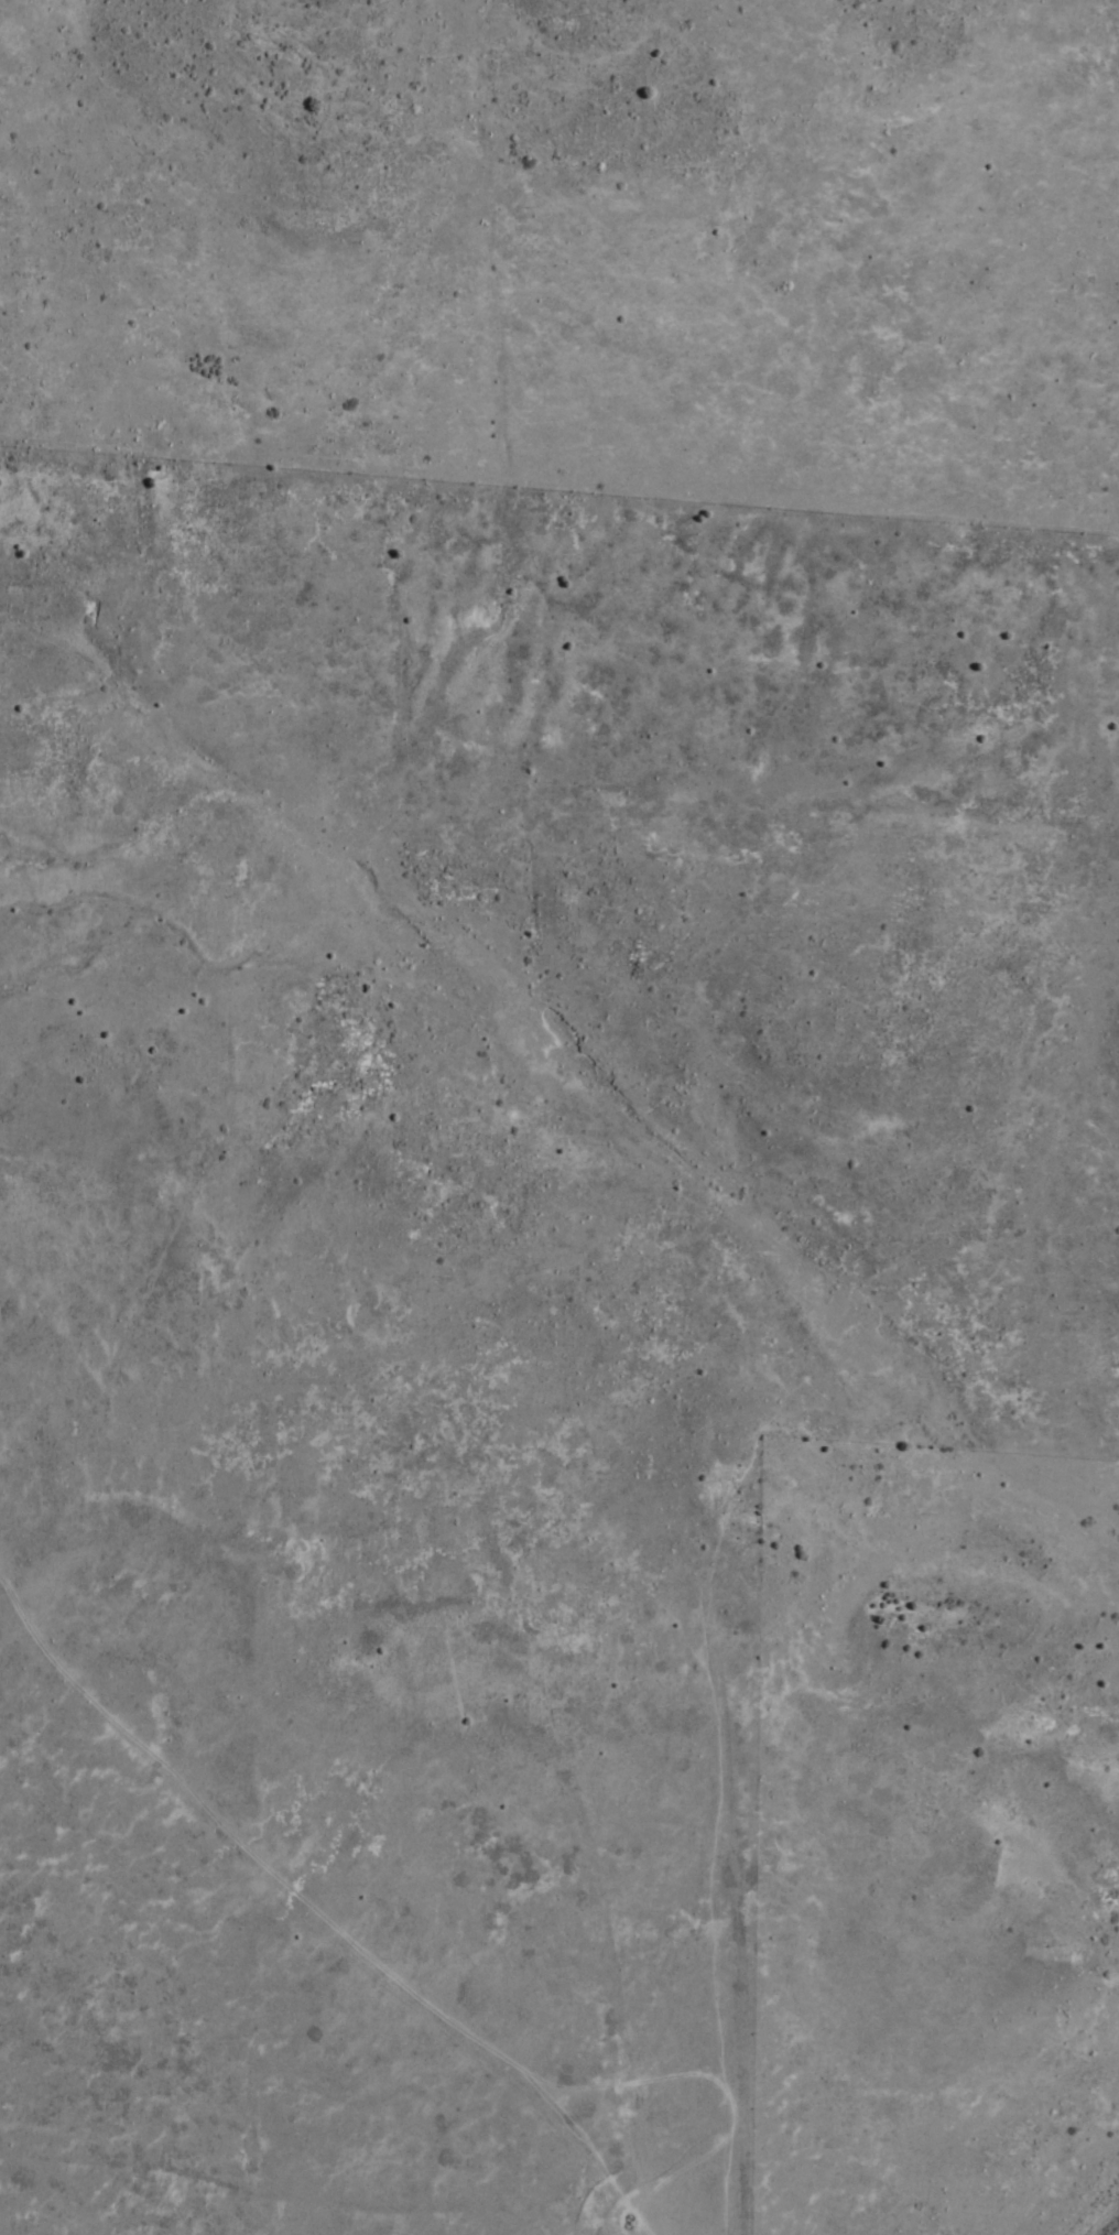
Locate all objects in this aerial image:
road: (35, 13)

